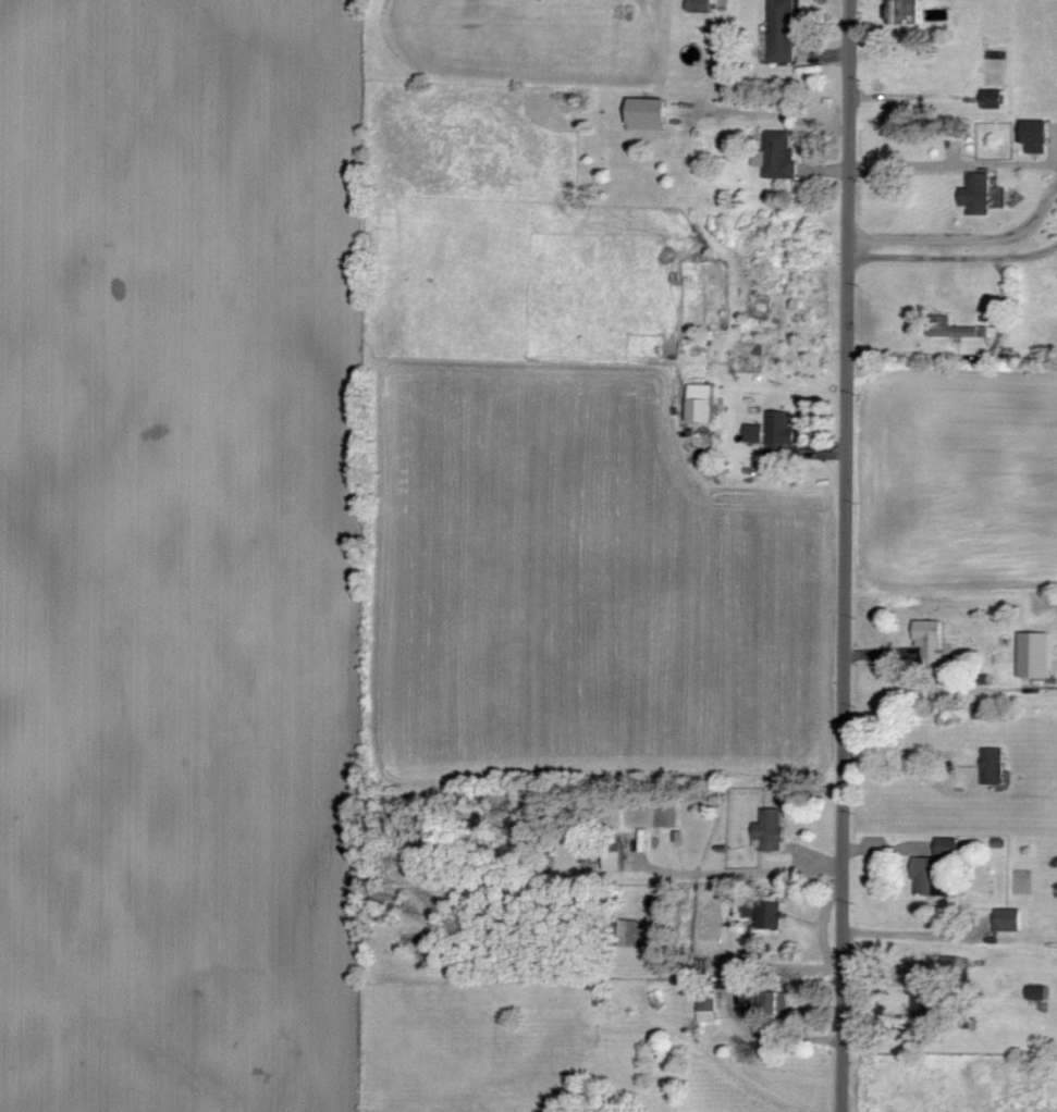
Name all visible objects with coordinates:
building: (705, 5)
building: (907, 12)
building: (788, 32)
building: (998, 99)
building: (653, 114)
building: (1042, 136)
building: (784, 156)
road: (954, 165)
building: (985, 195)
road: (964, 239)
road: (954, 259)
building: (957, 330)
road: (968, 357)
building: (706, 403)
building: (760, 433)
building: (785, 433)
road: (848, 555)
building: (935, 639)
building: (1040, 654)
road: (933, 751)
building: (997, 765)
building: (775, 829)
building: (619, 862)
building: (937, 866)
building: (776, 914)
building: (1013, 918)
road: (909, 935)
building: (929, 992)
building: (775, 1002)
building: (711, 1009)

